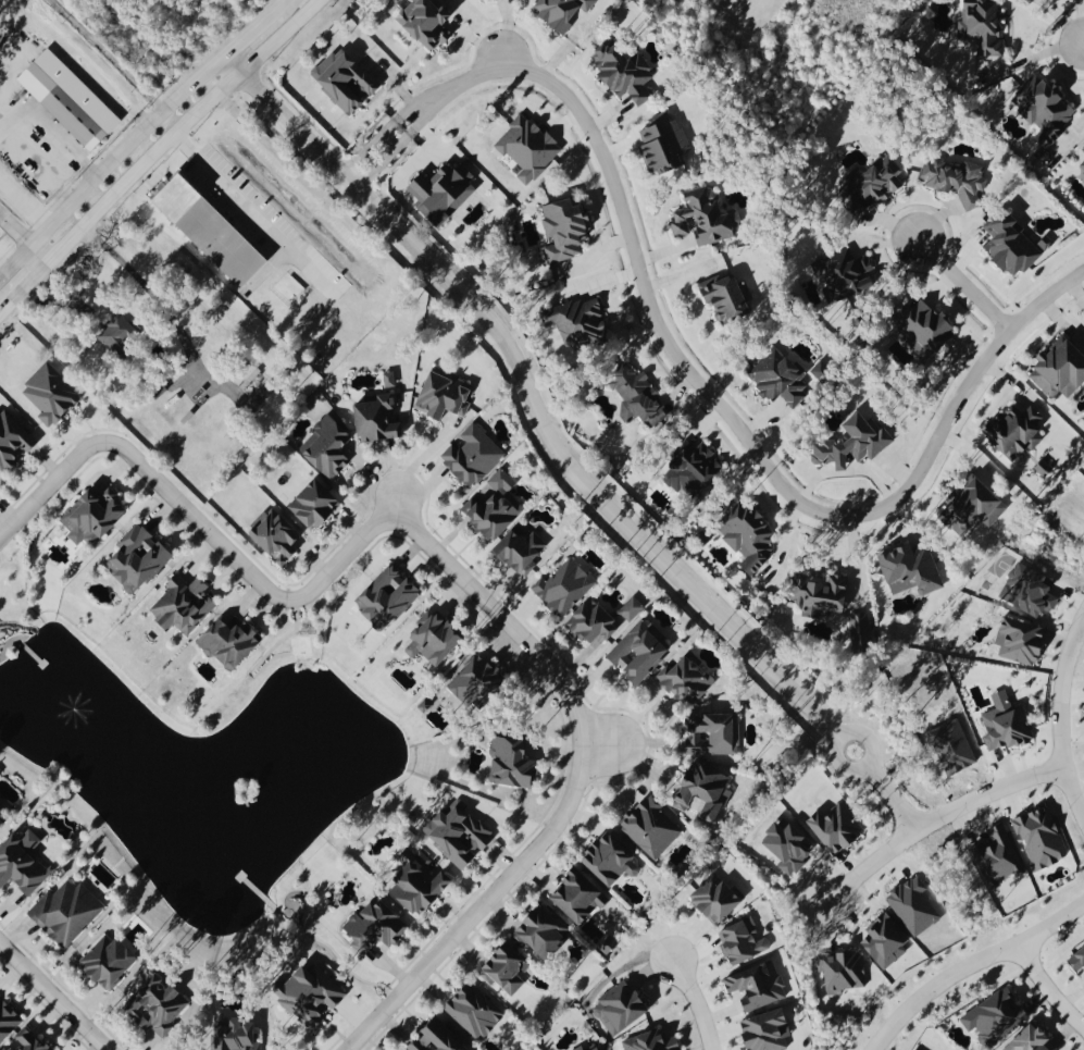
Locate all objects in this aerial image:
road: (277, 4)
building: (564, 12)
road: (1066, 20)
building: (427, 24)
building: (982, 26)
road: (247, 32)
road: (502, 35)
road: (104, 54)
building: (627, 73)
building: (347, 84)
building: (70, 102)
road: (421, 102)
building: (1047, 111)
road: (431, 116)
road: (179, 126)
road: (51, 128)
road: (388, 144)
building: (666, 146)
building: (529, 150)
building: (1083, 152)
road: (363, 157)
road: (109, 164)
building: (1082, 170)
road: (377, 171)
building: (880, 182)
building: (957, 182)
road: (233, 193)
building: (443, 195)
road: (25, 200)
building: (706, 219)
road: (15, 228)
building: (568, 232)
building: (212, 234)
building: (1012, 246)
road: (40, 251)
building: (849, 276)
road: (24, 285)
road: (962, 286)
building: (727, 300)
building: (580, 325)
building: (927, 330)
building: (117, 336)
building: (1061, 371)
building: (826, 376)
building: (391, 382)
building: (782, 382)
building: (446, 396)
road: (529, 396)
building: (51, 398)
building: (639, 399)
building: (381, 422)
building: (1017, 434)
road: (742, 435)
building: (13, 444)
building: (858, 446)
building: (329, 449)
building: (474, 459)
building: (701, 471)
road: (50, 483)
road: (397, 506)
building: (316, 508)
building: (497, 510)
building: (975, 510)
road: (196, 518)
building: (95, 519)
building: (276, 539)
building: (750, 540)
building: (523, 552)
building: (138, 560)
road: (456, 570)
building: (914, 573)
building: (564, 590)
building: (1031, 594)
building: (823, 597)
building: (388, 600)
building: (184, 607)
building: (633, 612)
building: (597, 625)
building: (436, 641)
building: (230, 646)
building: (641, 653)
building: (481, 681)
building: (687, 681)
road: (1059, 717)
building: (1009, 727)
building: (713, 736)
road: (599, 744)
road: (832, 749)
building: (513, 764)
building: (703, 794)
road: (890, 798)
building: (0, 808)
road: (933, 819)
building: (2, 823)
building: (652, 828)
building: (837, 830)
building: (463, 838)
building: (1042, 839)
building: (613, 861)
building: (24, 863)
building: (422, 887)
building: (578, 898)
building: (718, 900)
road: (479, 905)
building: (67, 914)
building: (376, 929)
building: (546, 934)
building: (744, 943)
building: (1077, 962)
building: (110, 963)
road: (971, 967)
building: (506, 971)
building: (844, 972)
building: (757, 988)
road: (1048, 989)
road: (53, 996)
building: (312, 997)
road: (697, 1002)
building: (160, 1010)
building: (622, 1010)
building: (475, 1013)
building: (996, 1018)
building: (8, 1023)
building: (769, 1032)
building: (238, 1034)
building: (438, 1039)
building: (1034, 1039)
building: (32, 1041)
building: (652, 1042)
building: (582, 1048)
building: (596, 1048)

